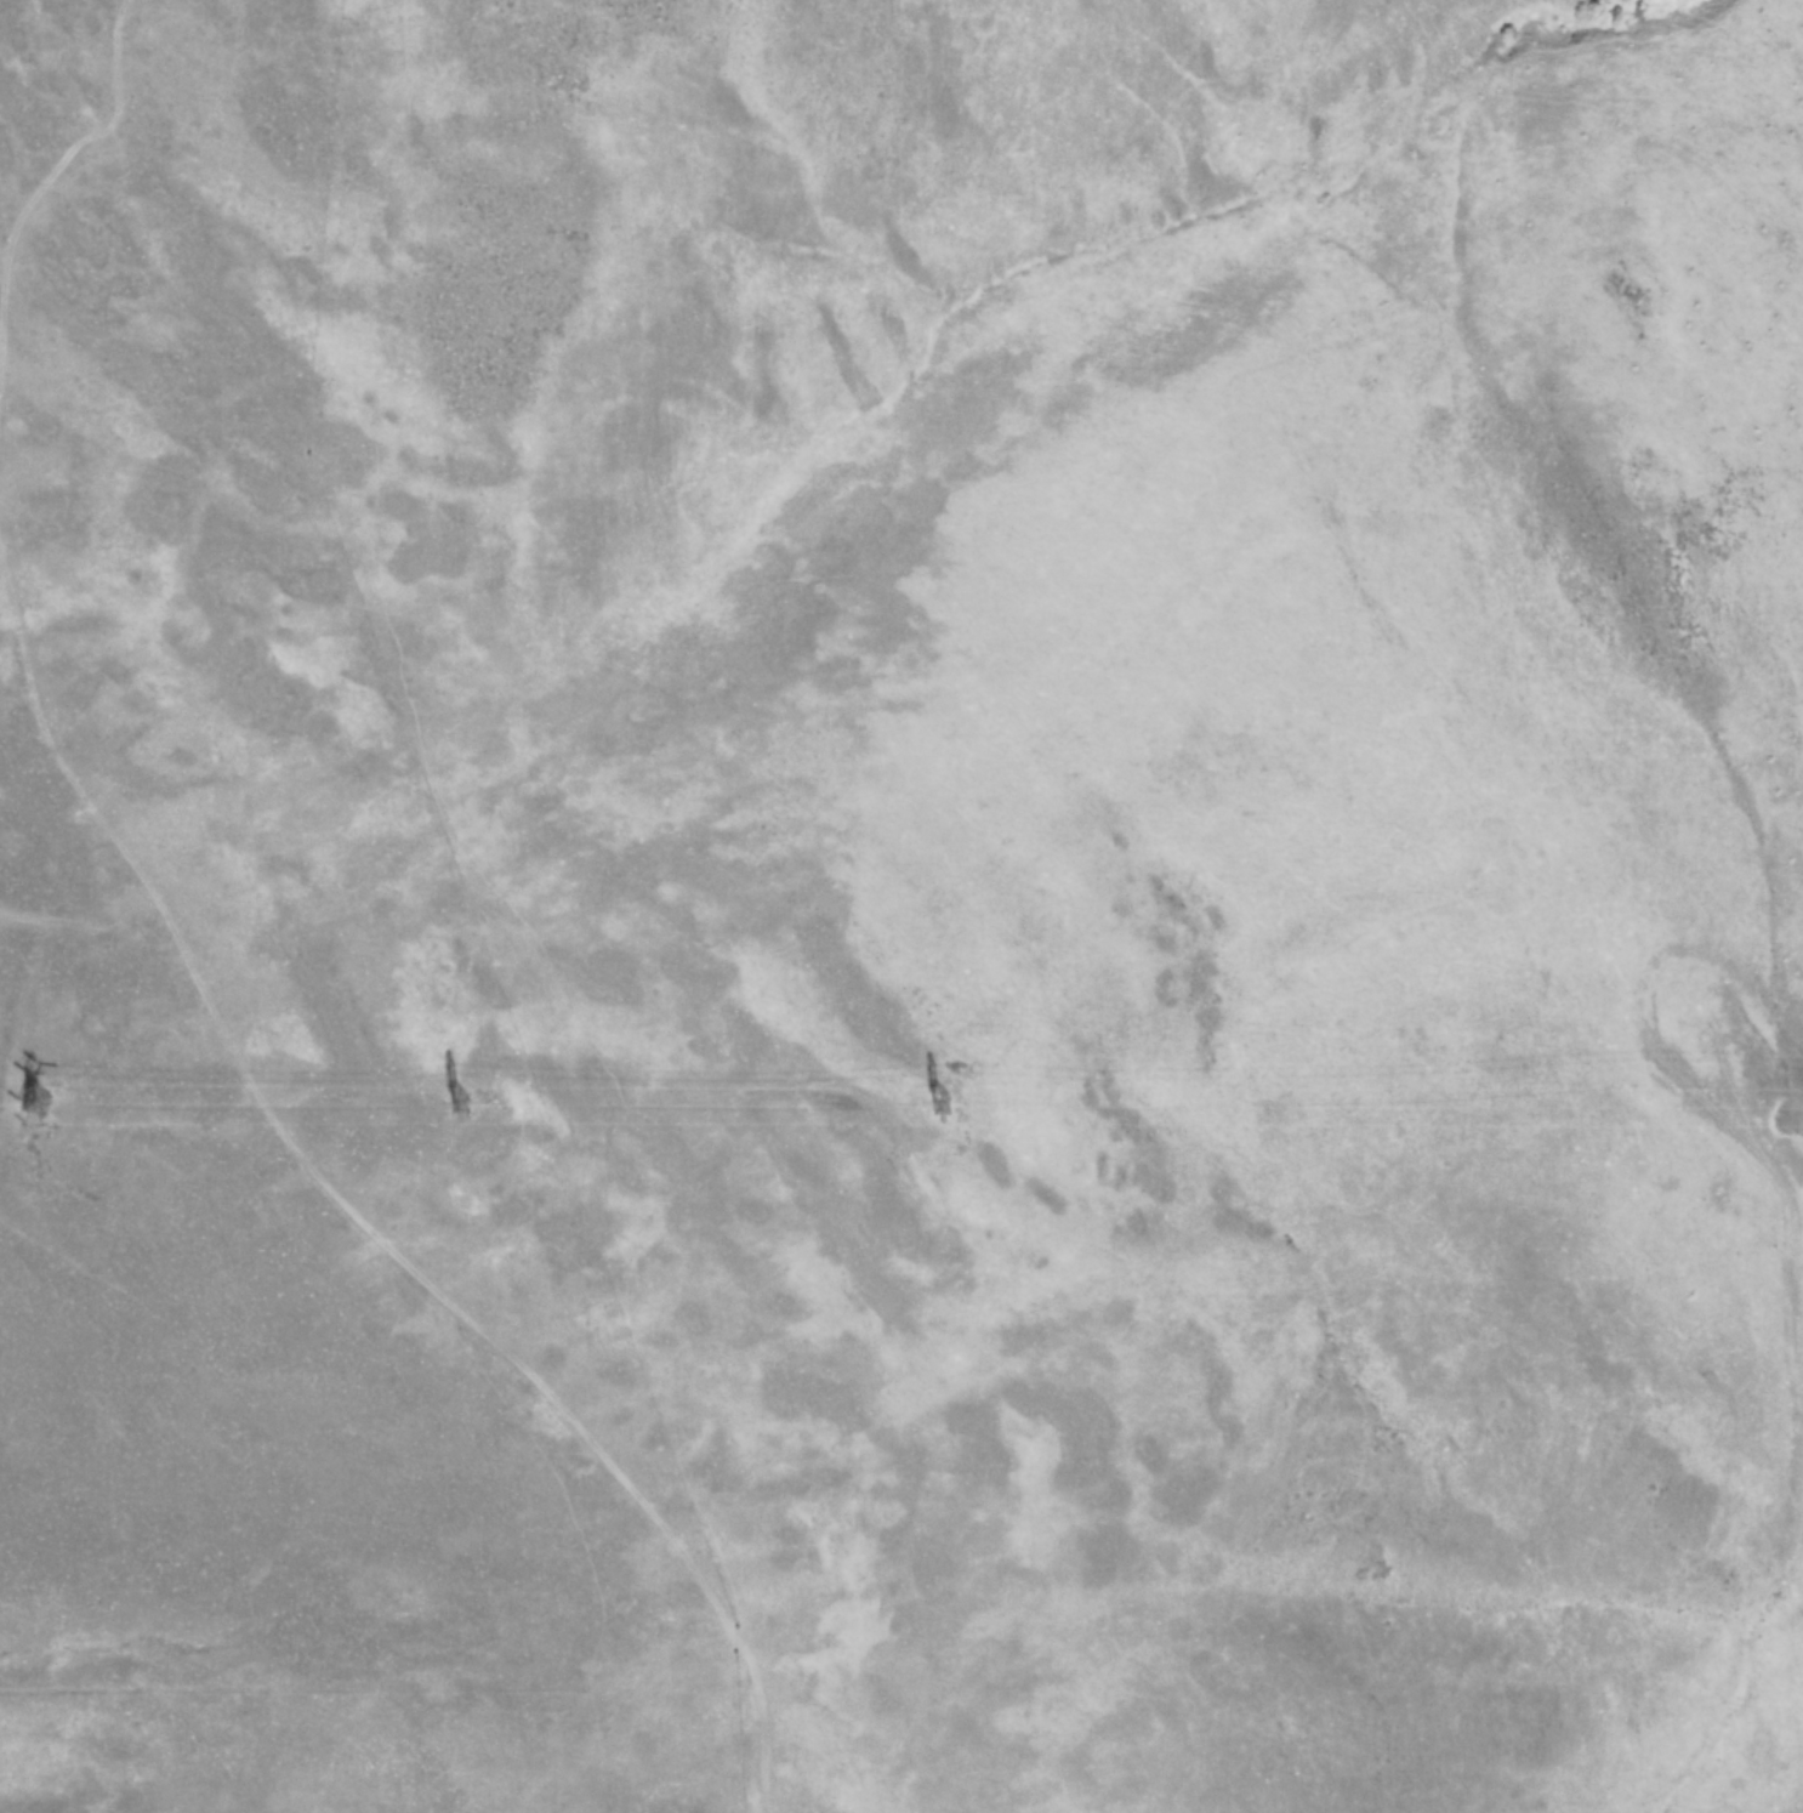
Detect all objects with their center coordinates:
power tower: (476, 1086)
power tower: (956, 1087)
power tower: (41, 1099)

